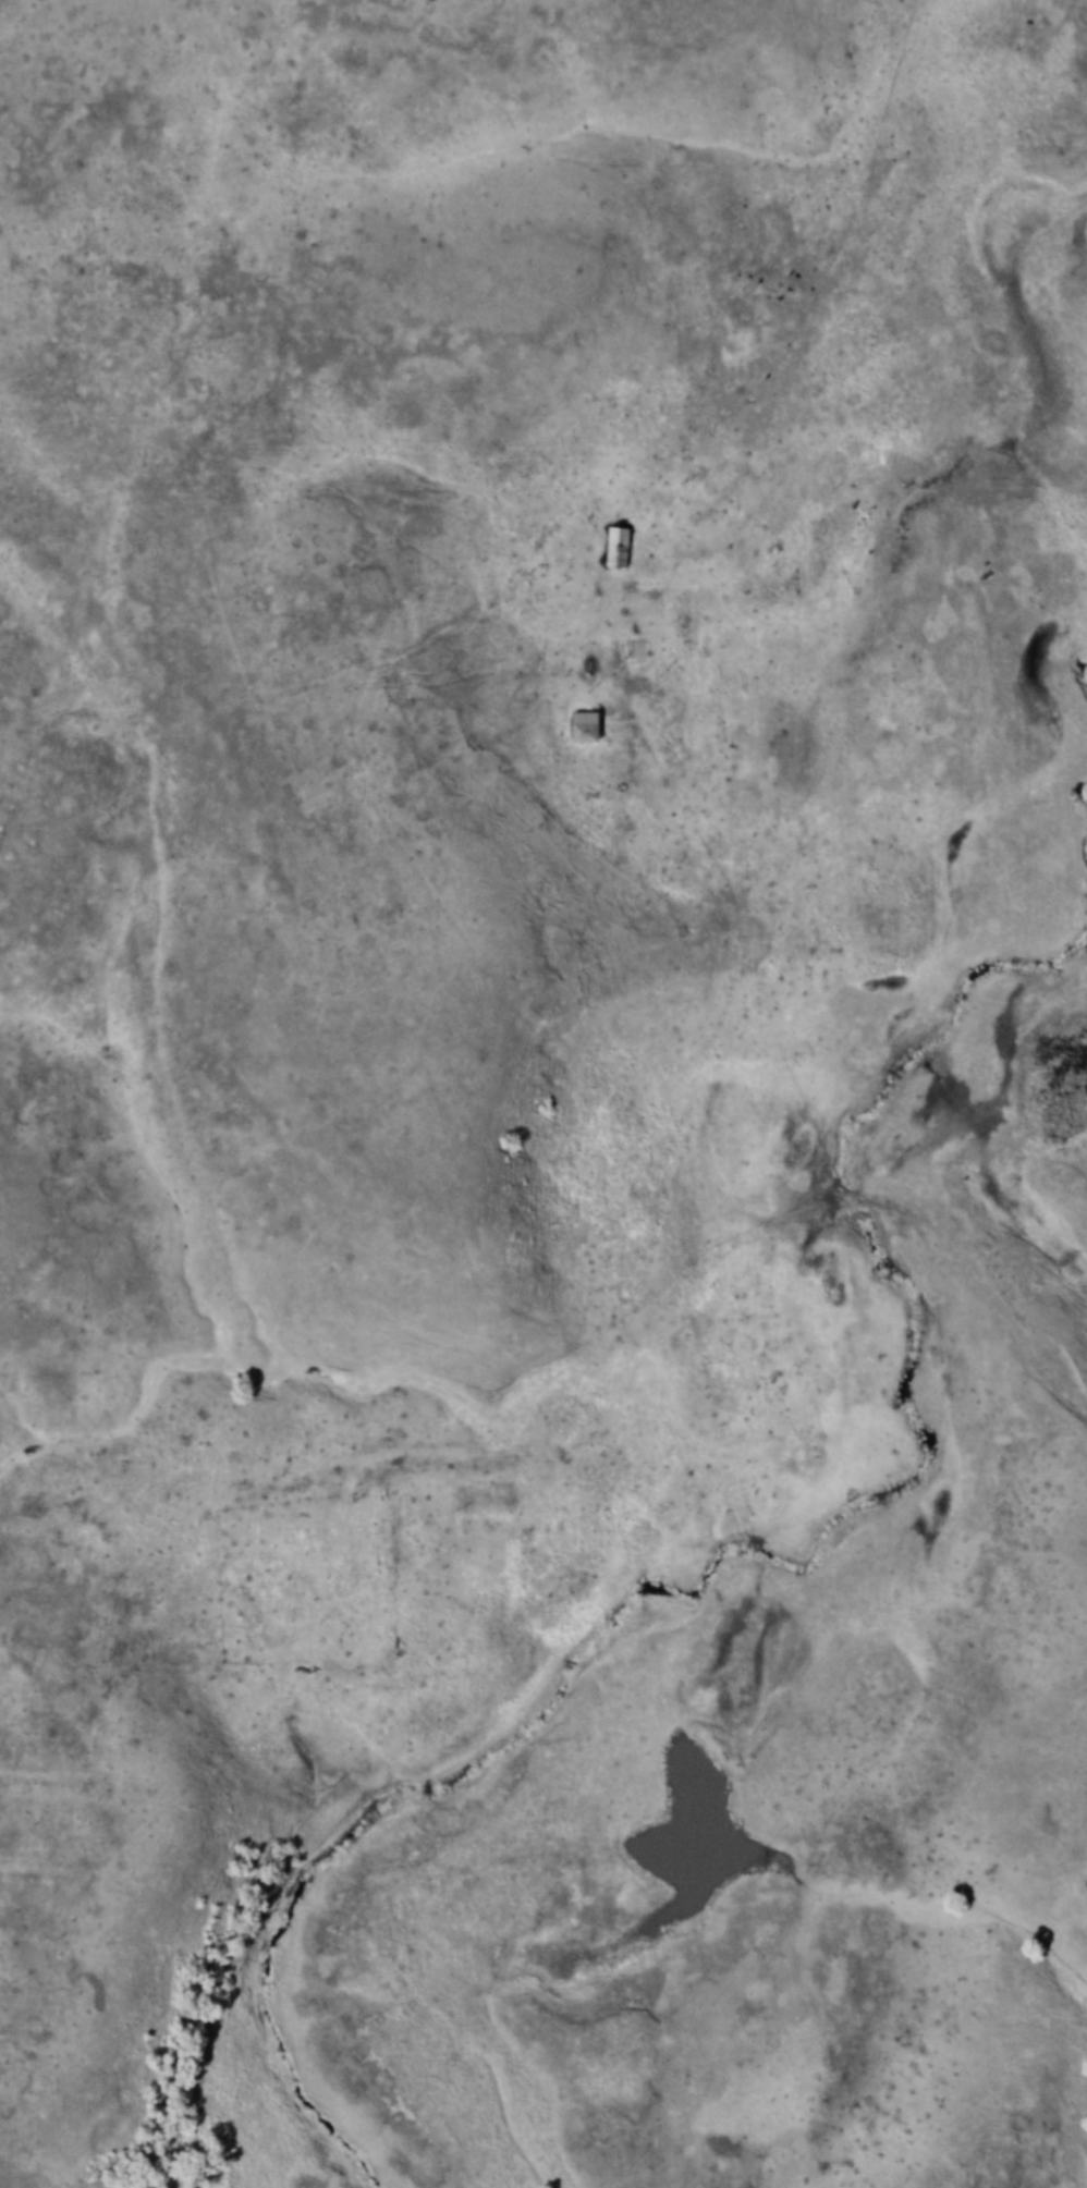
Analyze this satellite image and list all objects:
building: (615, 531)
building: (634, 648)
building: (581, 711)
building: (583, 728)
road: (728, 1064)

